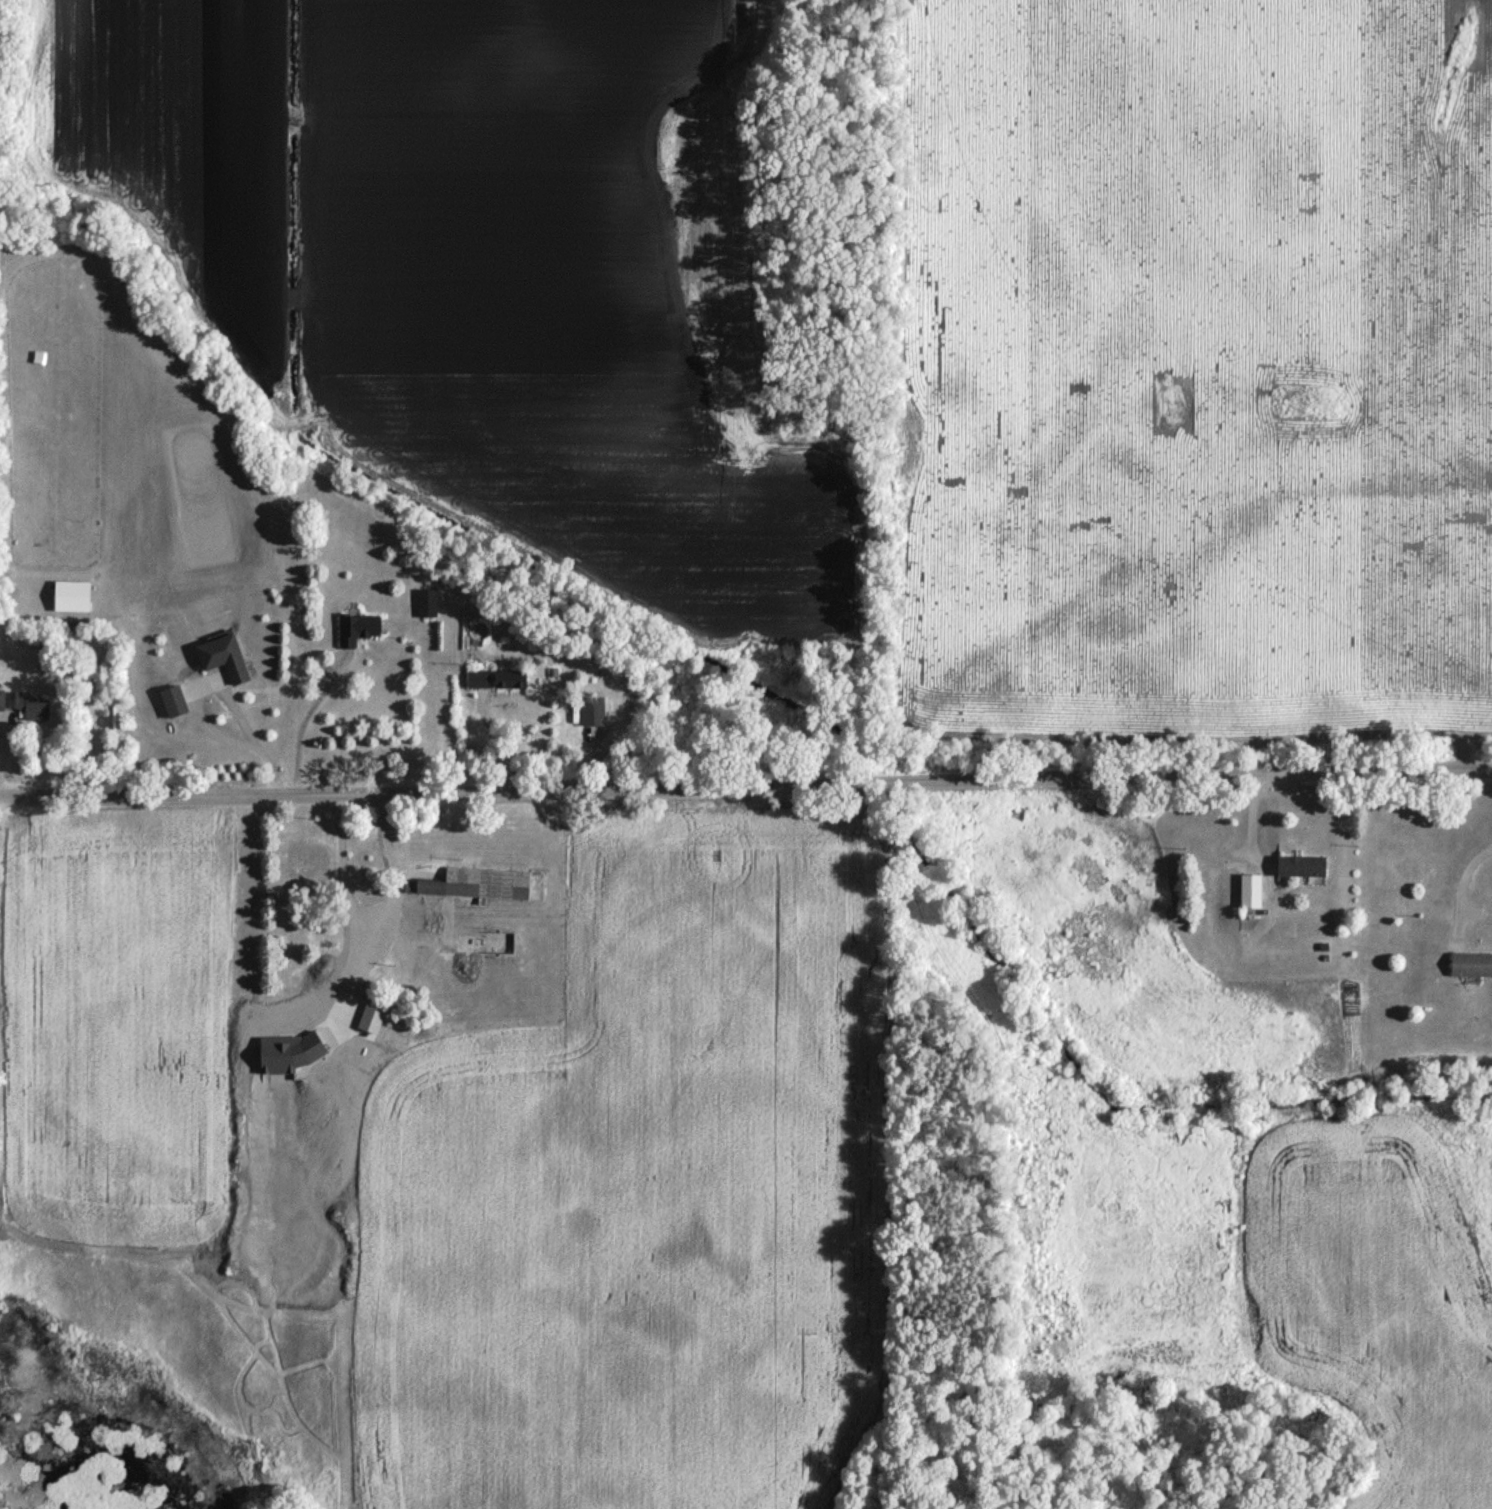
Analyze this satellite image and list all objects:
building: (430, 606)
building: (360, 633)
building: (226, 662)
building: (501, 684)
building: (30, 713)
road: (198, 715)
building: (594, 716)
road: (305, 722)
road: (746, 785)
building: (311, 869)
building: (1303, 871)
road: (1460, 880)
building: (481, 888)
building: (1253, 896)
road: (371, 914)
building: (1473, 969)
building: (347, 989)

